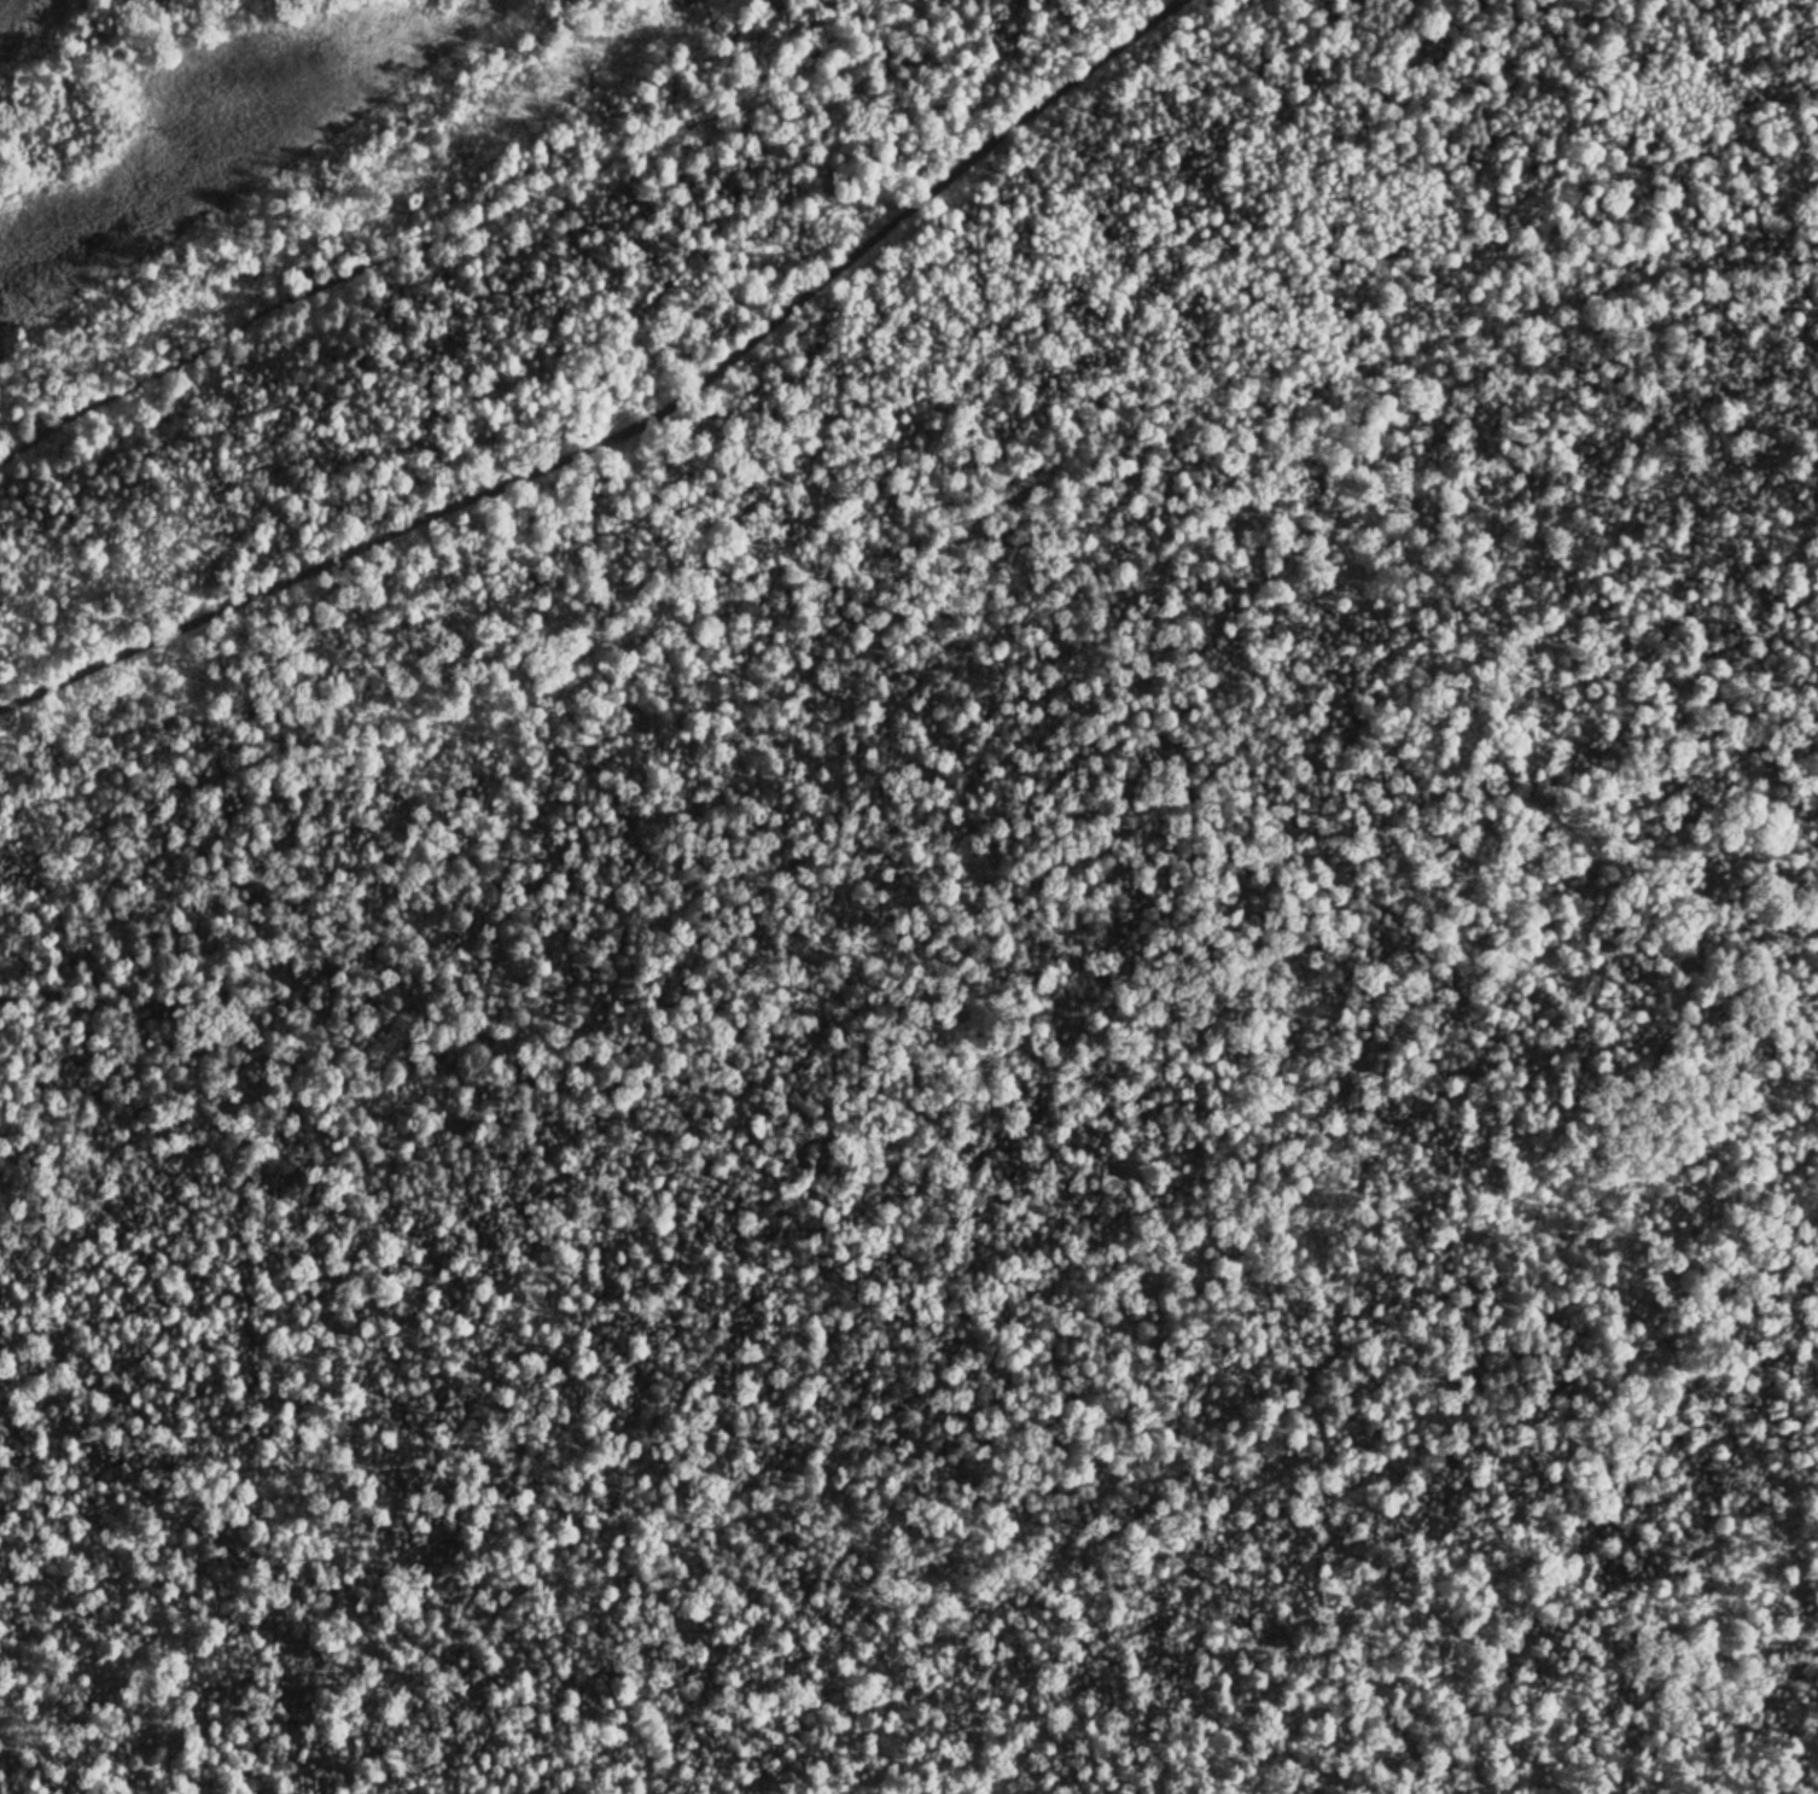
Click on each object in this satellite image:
road: (631, 423)

